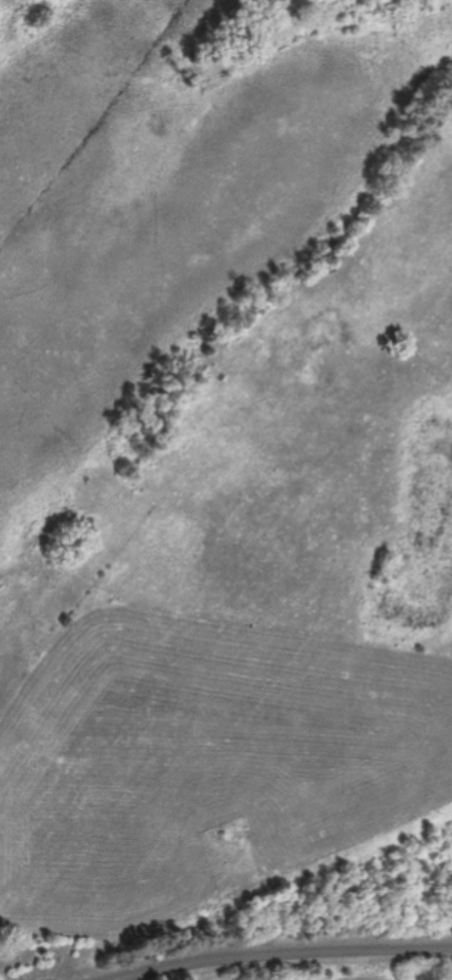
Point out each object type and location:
road: (17, 924)
road: (286, 955)

